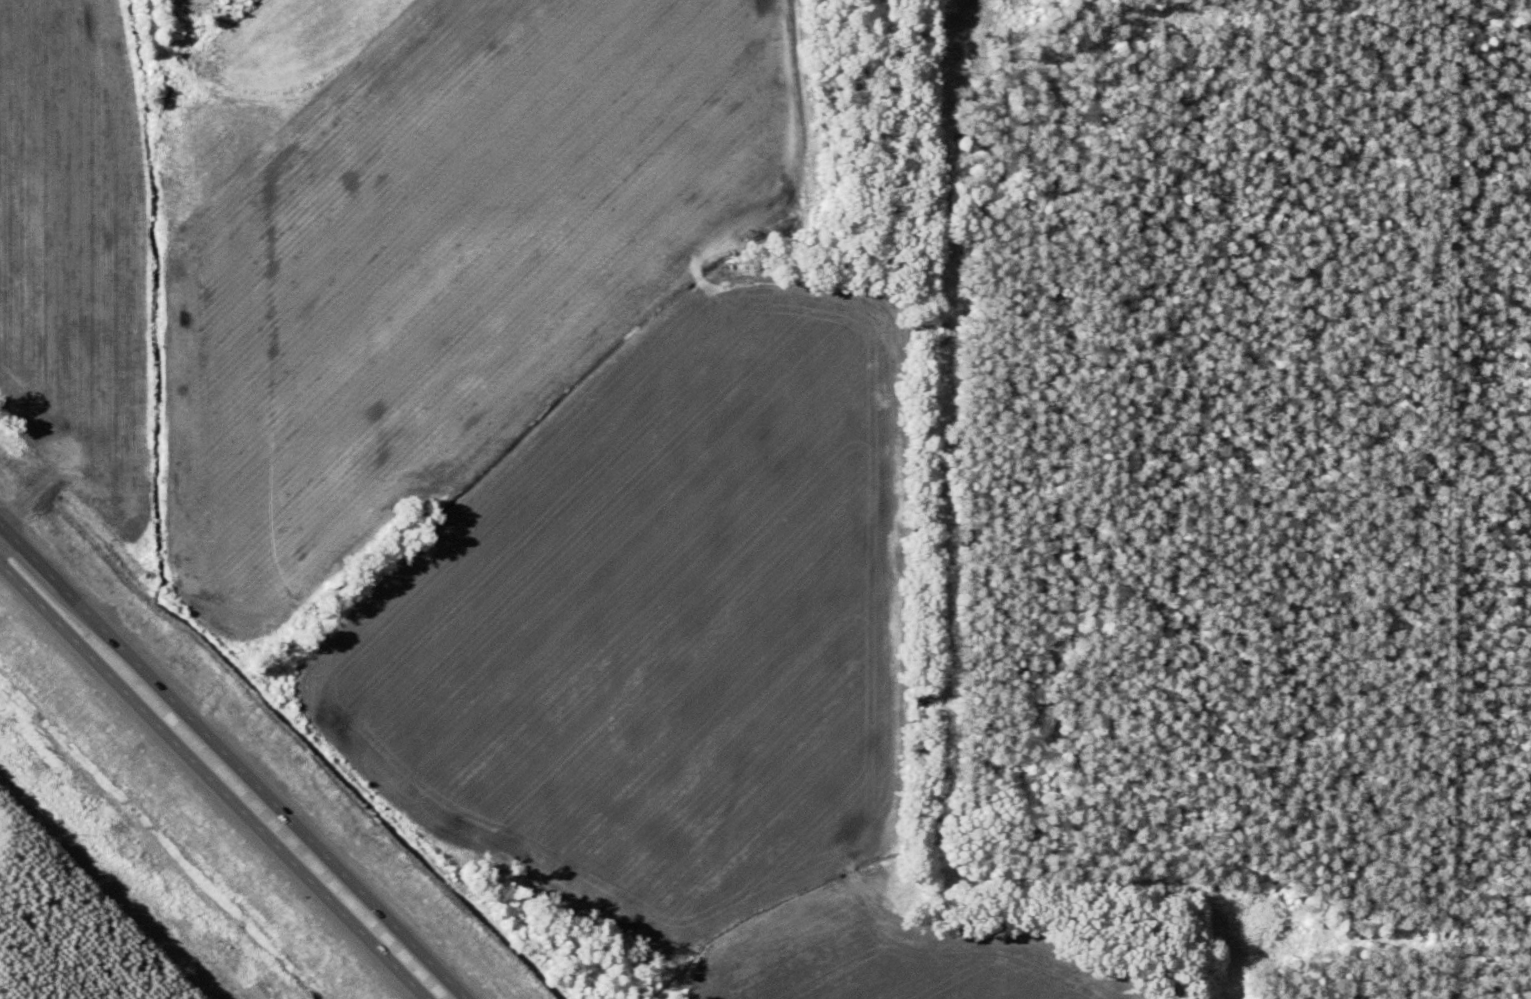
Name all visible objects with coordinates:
road: (230, 764)
road: (208, 784)

